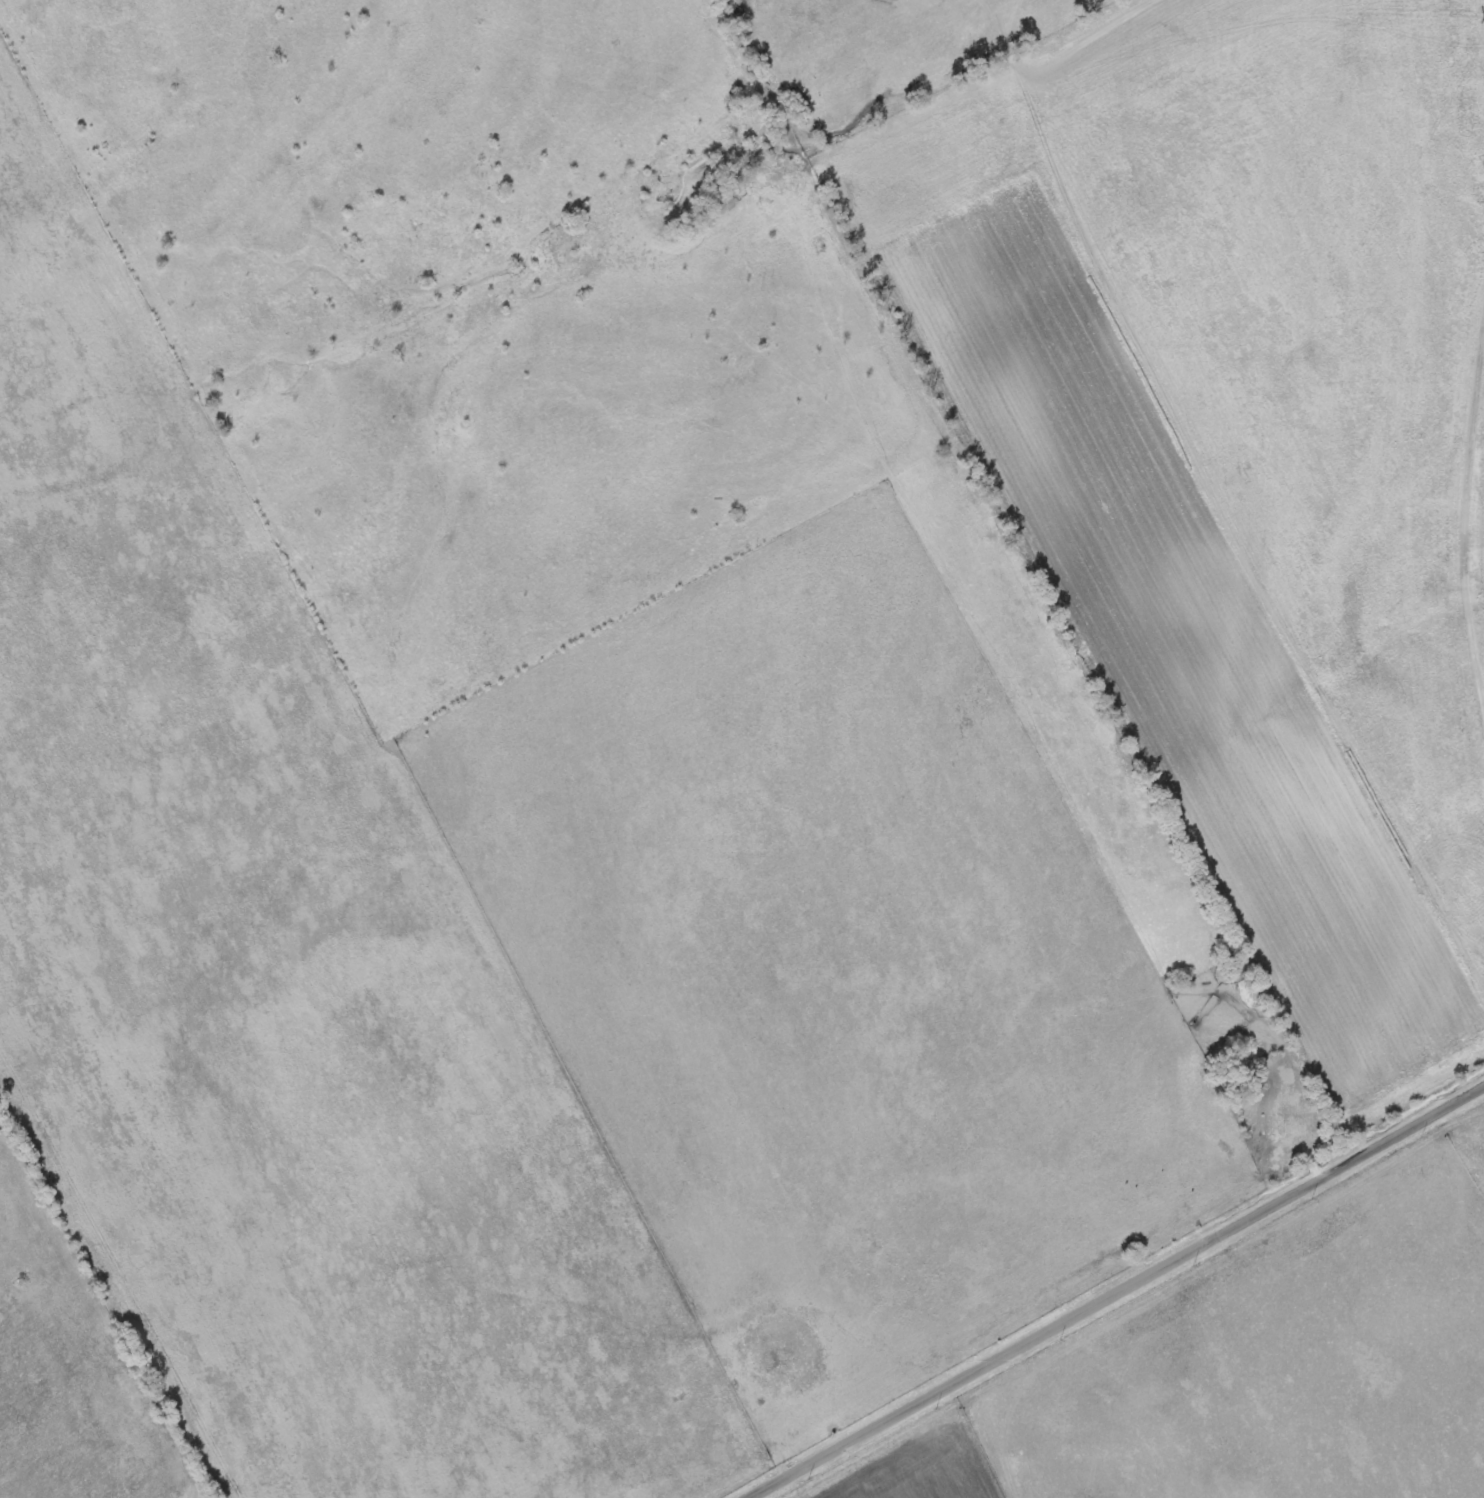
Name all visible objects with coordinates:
road: (1121, 1294)

